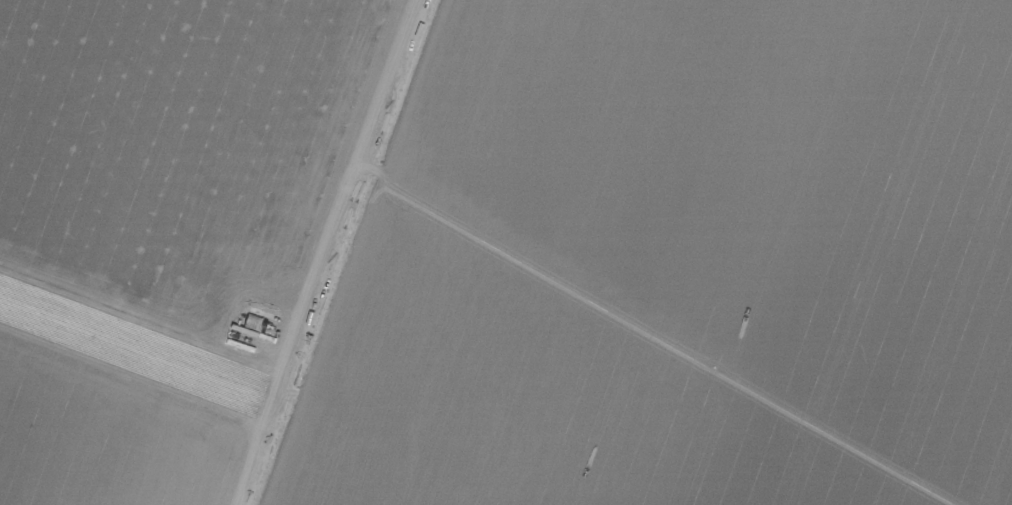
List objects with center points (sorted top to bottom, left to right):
road: (178, 99)
road: (323, 252)
crop: (506, 252)
road: (140, 318)
road: (129, 374)

